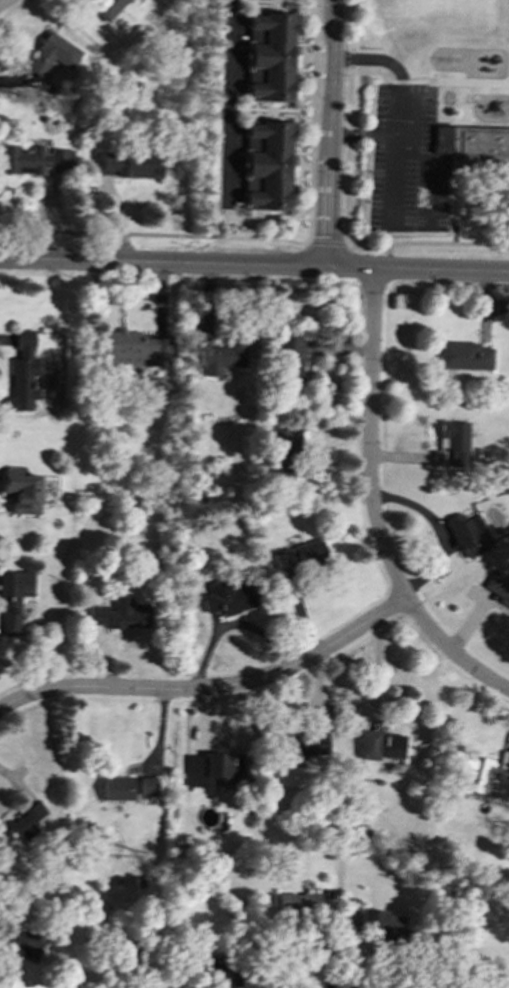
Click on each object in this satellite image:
road: (2, 1)
building: (105, 8)
building: (51, 54)
building: (269, 56)
road: (341, 58)
road: (427, 83)
road: (226, 103)
road: (395, 108)
road: (347, 121)
road: (310, 122)
road: (326, 135)
road: (342, 135)
building: (475, 147)
building: (34, 160)
building: (266, 164)
building: (126, 165)
road: (429, 202)
road: (450, 223)
road: (256, 237)
road: (388, 258)
road: (254, 267)
building: (133, 349)
building: (222, 356)
building: (462, 356)
building: (290, 359)
building: (22, 374)
building: (453, 440)
building: (280, 454)
building: (22, 491)
road: (371, 508)
building: (468, 535)
building: (298, 557)
building: (498, 588)
building: (227, 597)
building: (13, 598)
building: (120, 614)
road: (210, 690)
building: (379, 745)
building: (301, 746)
building: (214, 768)
building: (481, 775)
building: (148, 786)
building: (117, 789)
building: (23, 824)
building: (296, 906)
building: (381, 922)
road: (326, 948)
building: (23, 974)
building: (220, 974)

